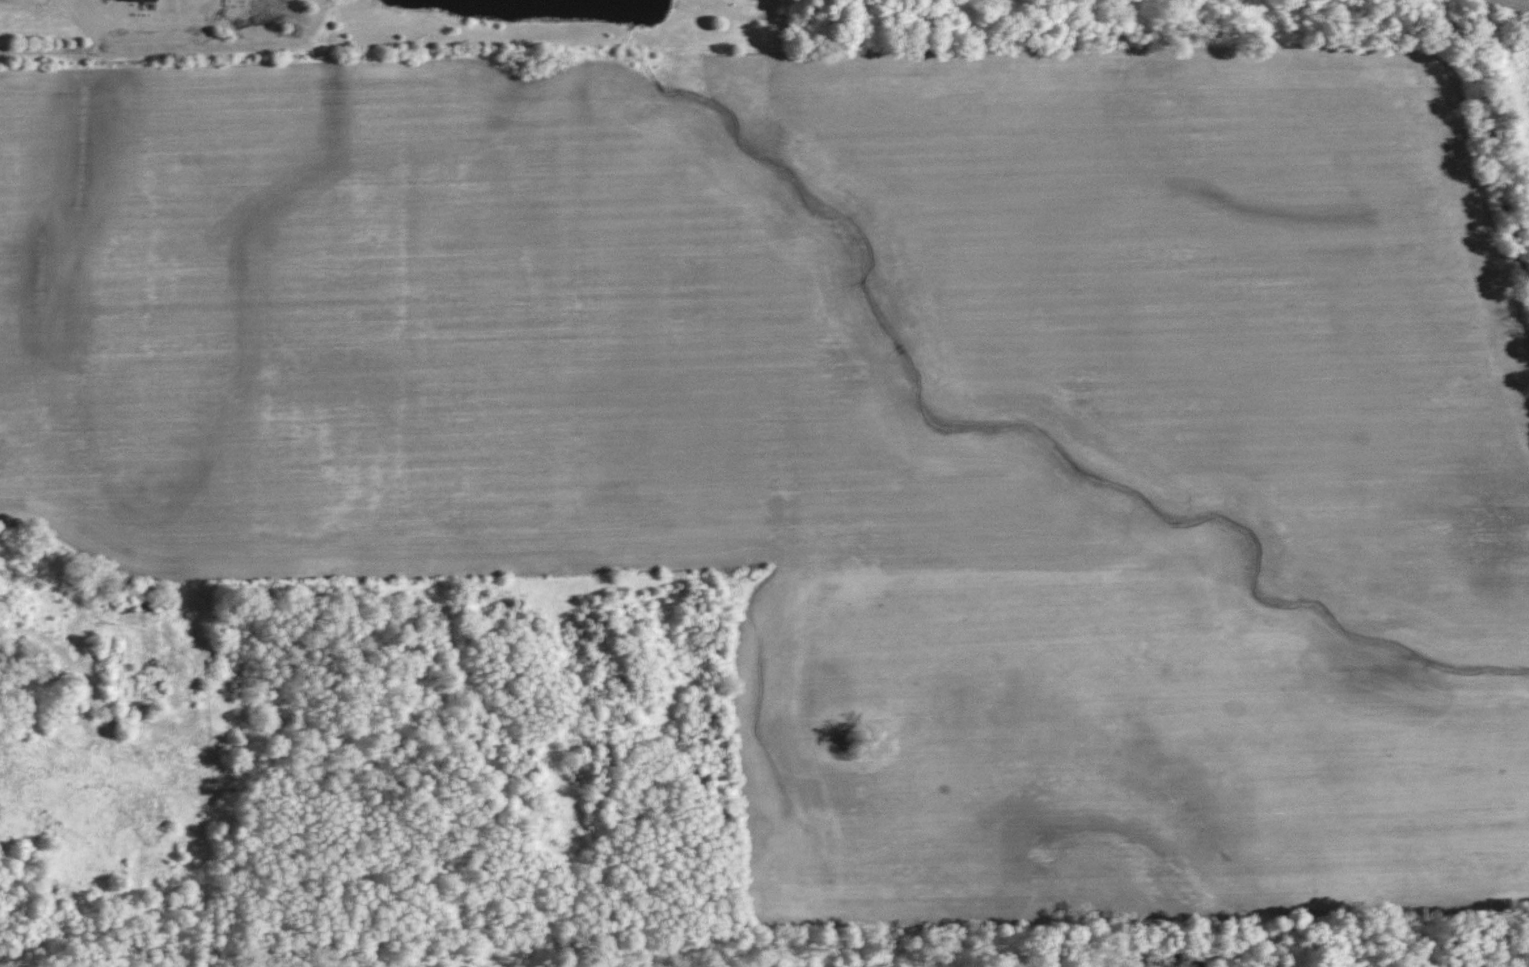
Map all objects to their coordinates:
building: (139, 0)
road: (118, 47)

